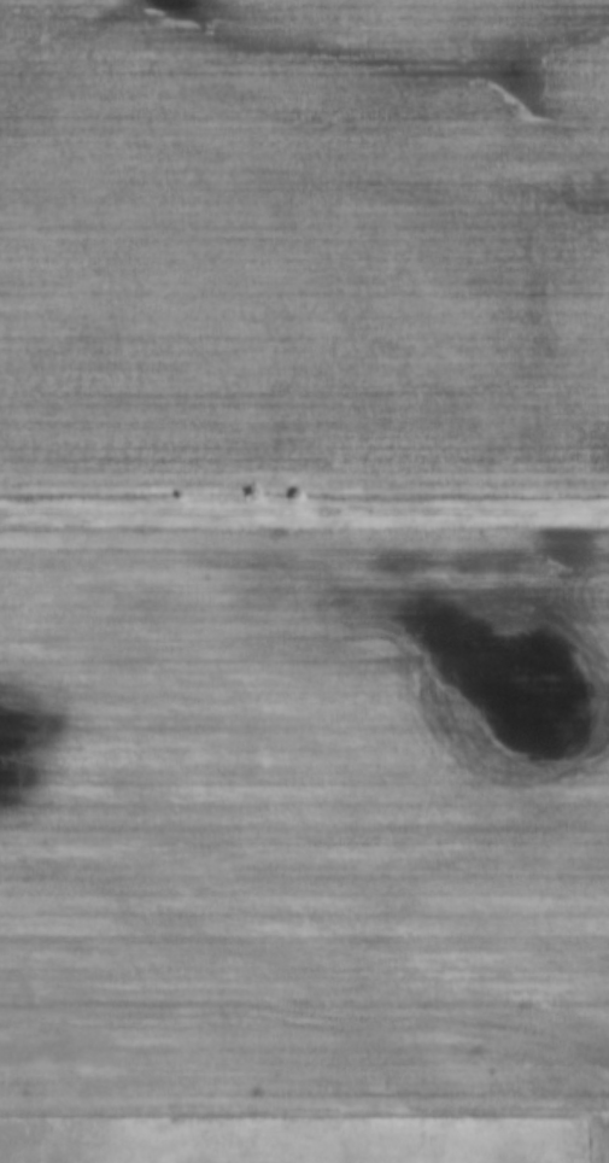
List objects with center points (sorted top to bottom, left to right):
road: (304, 512)

